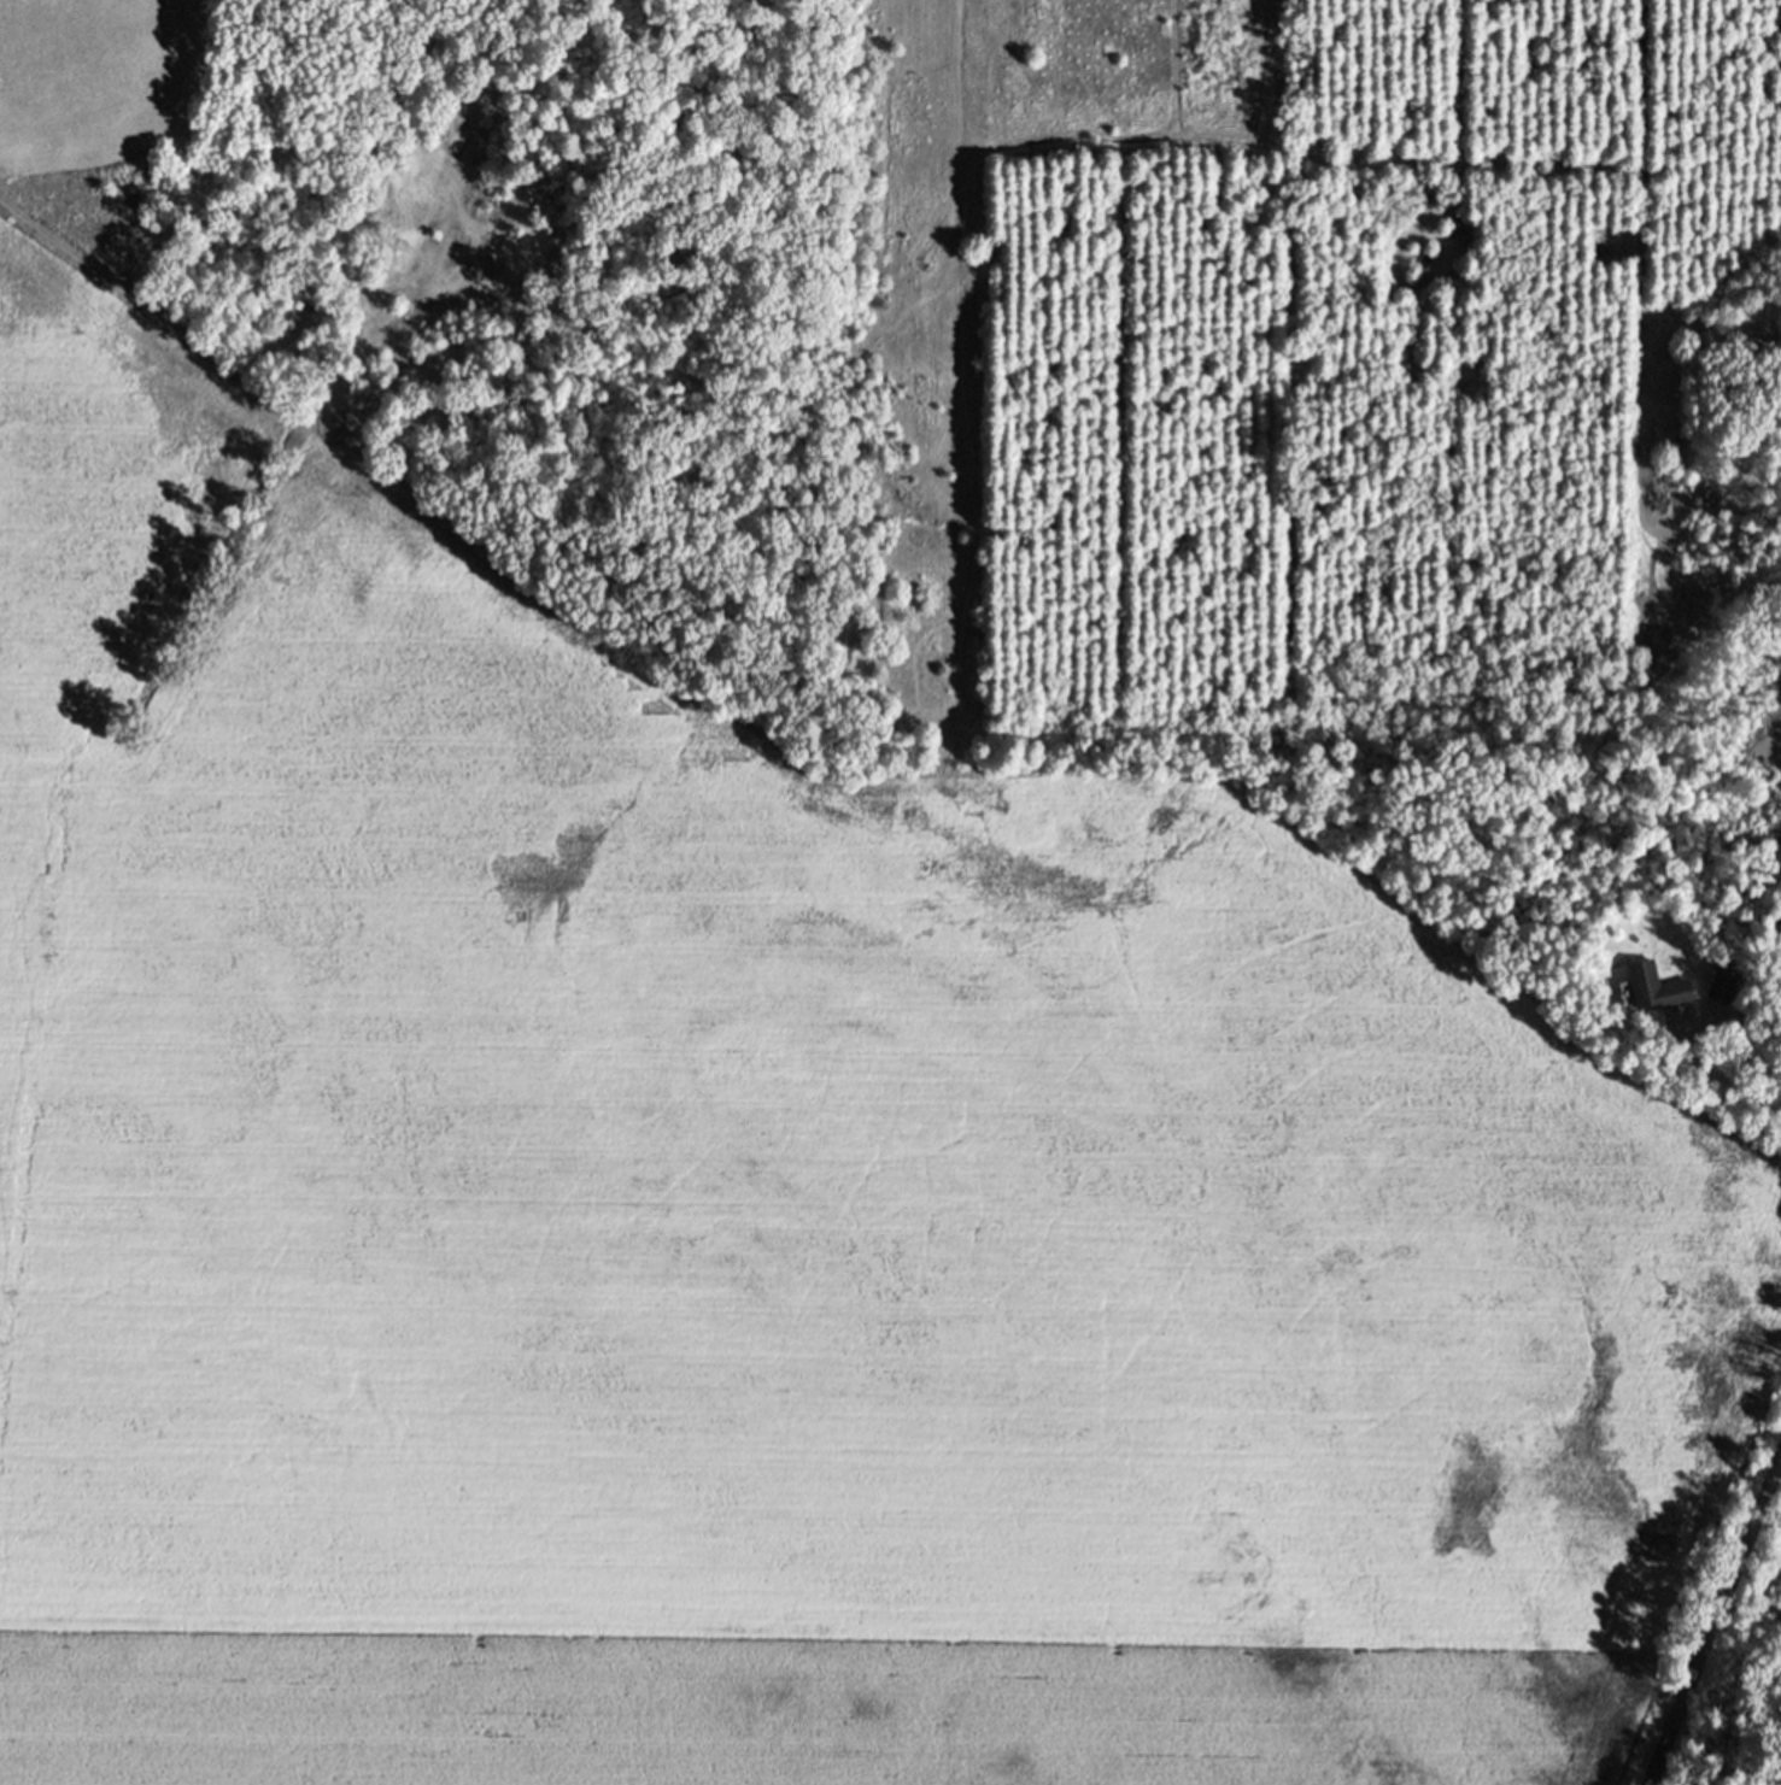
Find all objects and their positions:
building: (1654, 999)
road: (1718, 1073)
road: (1713, 1620)

